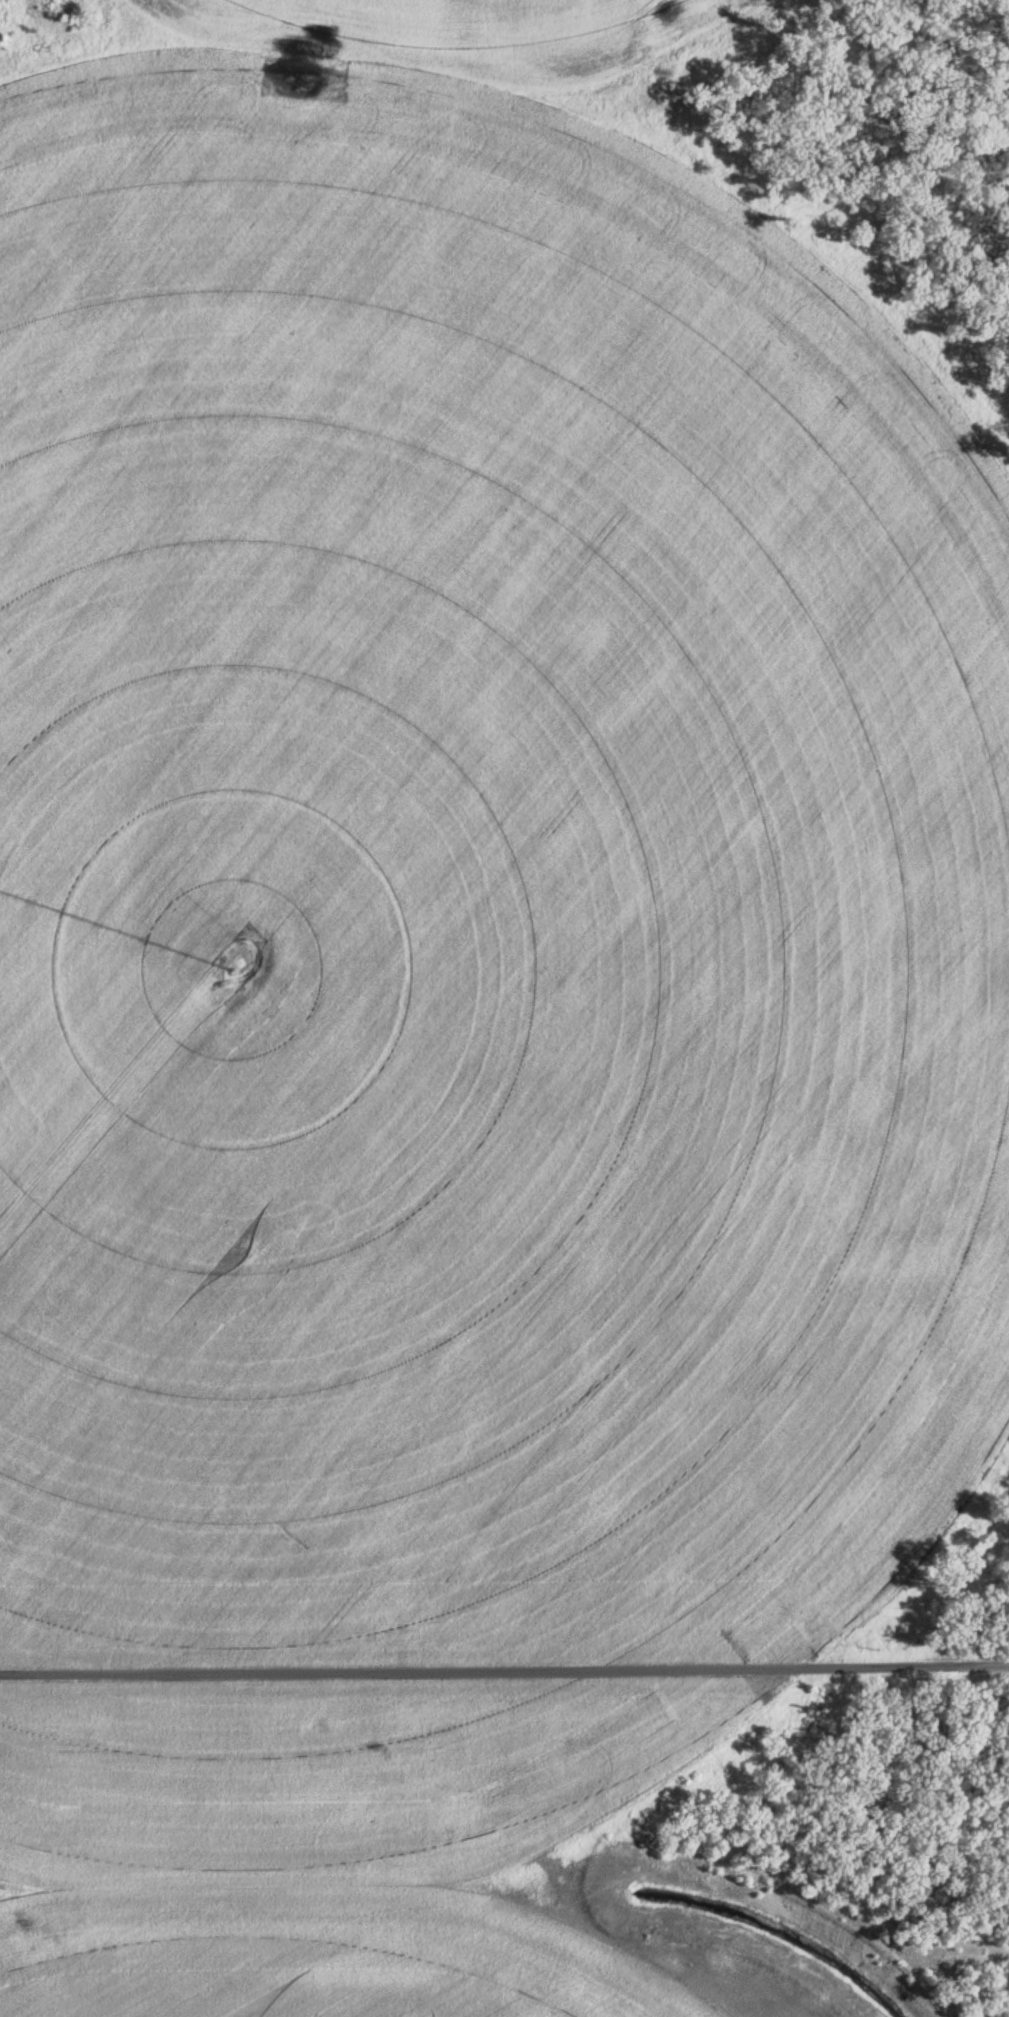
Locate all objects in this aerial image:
wastewater plant: (504, 1008)
road: (504, 1670)

